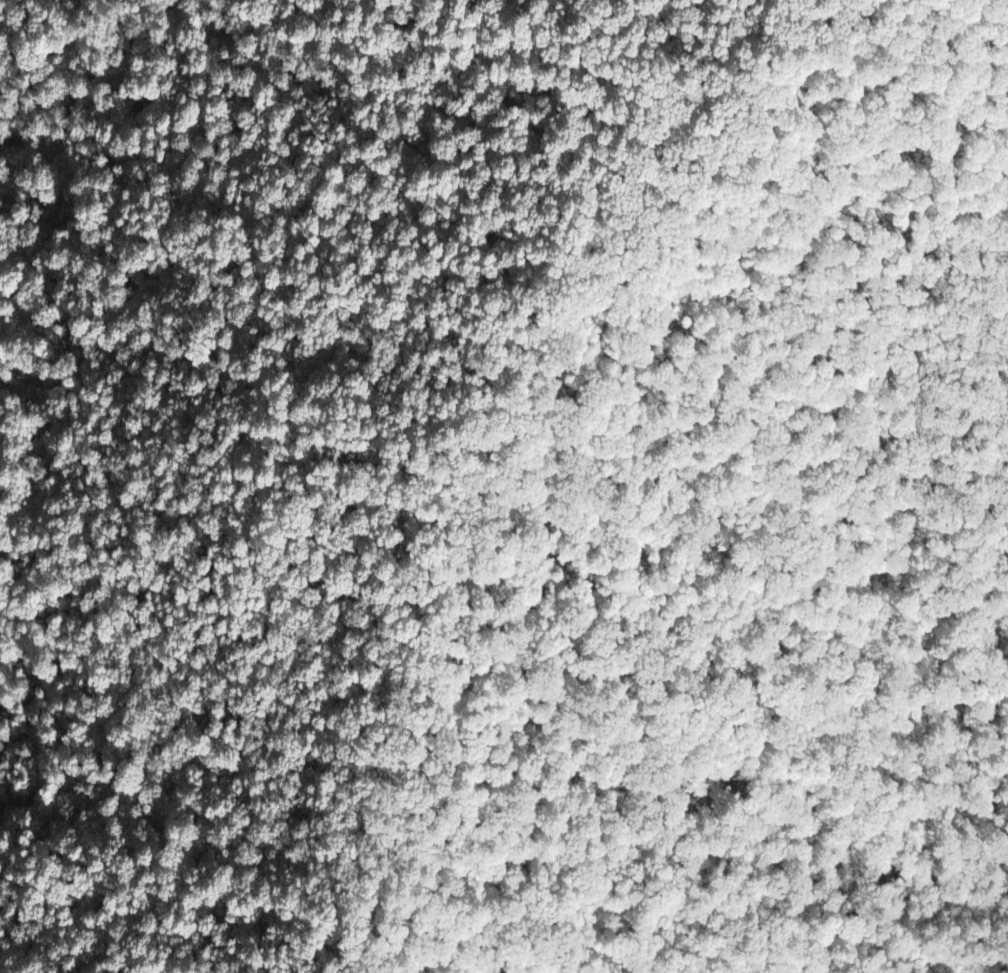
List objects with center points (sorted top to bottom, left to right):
road: (519, 215)
road: (748, 358)

